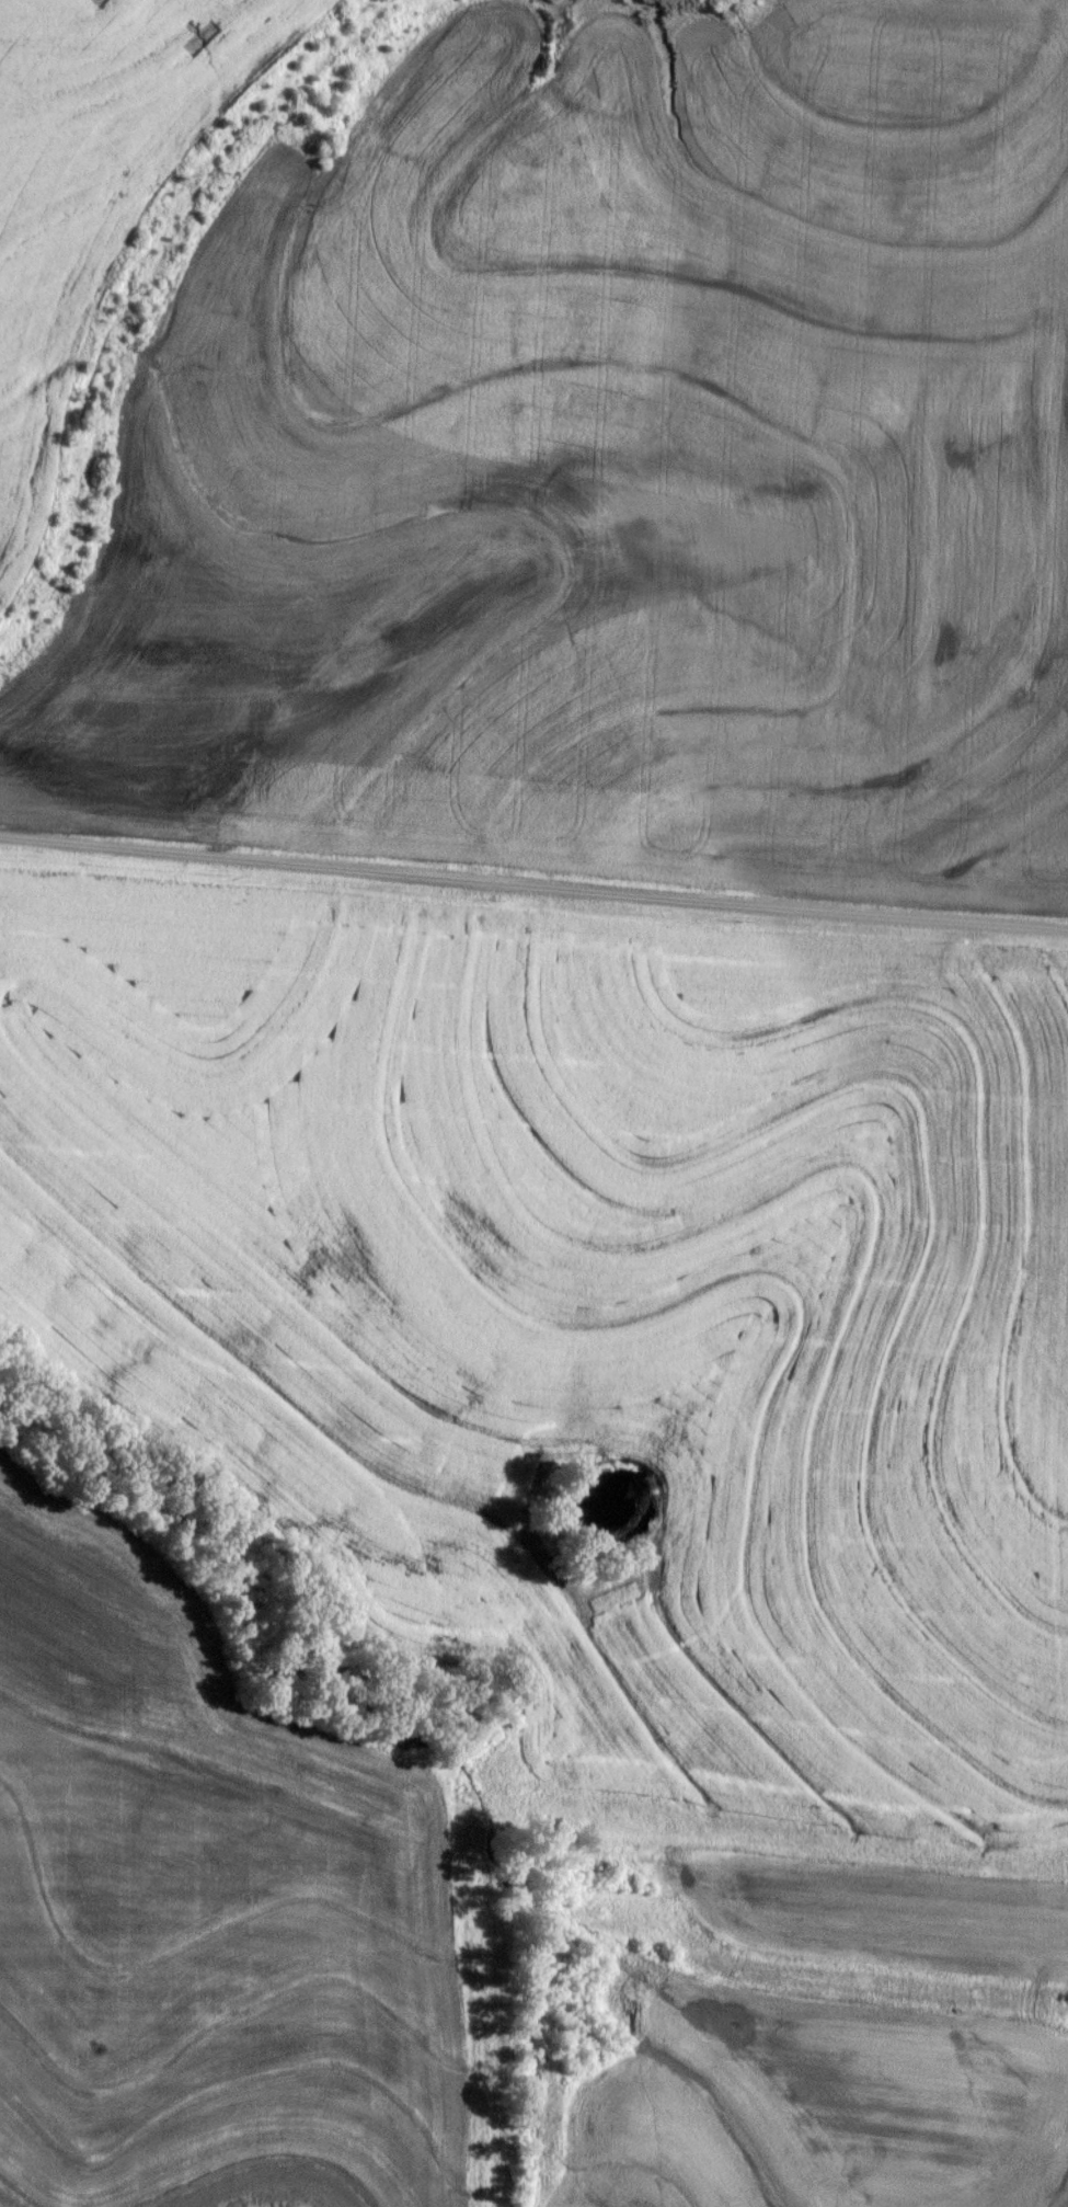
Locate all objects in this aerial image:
road: (533, 884)

